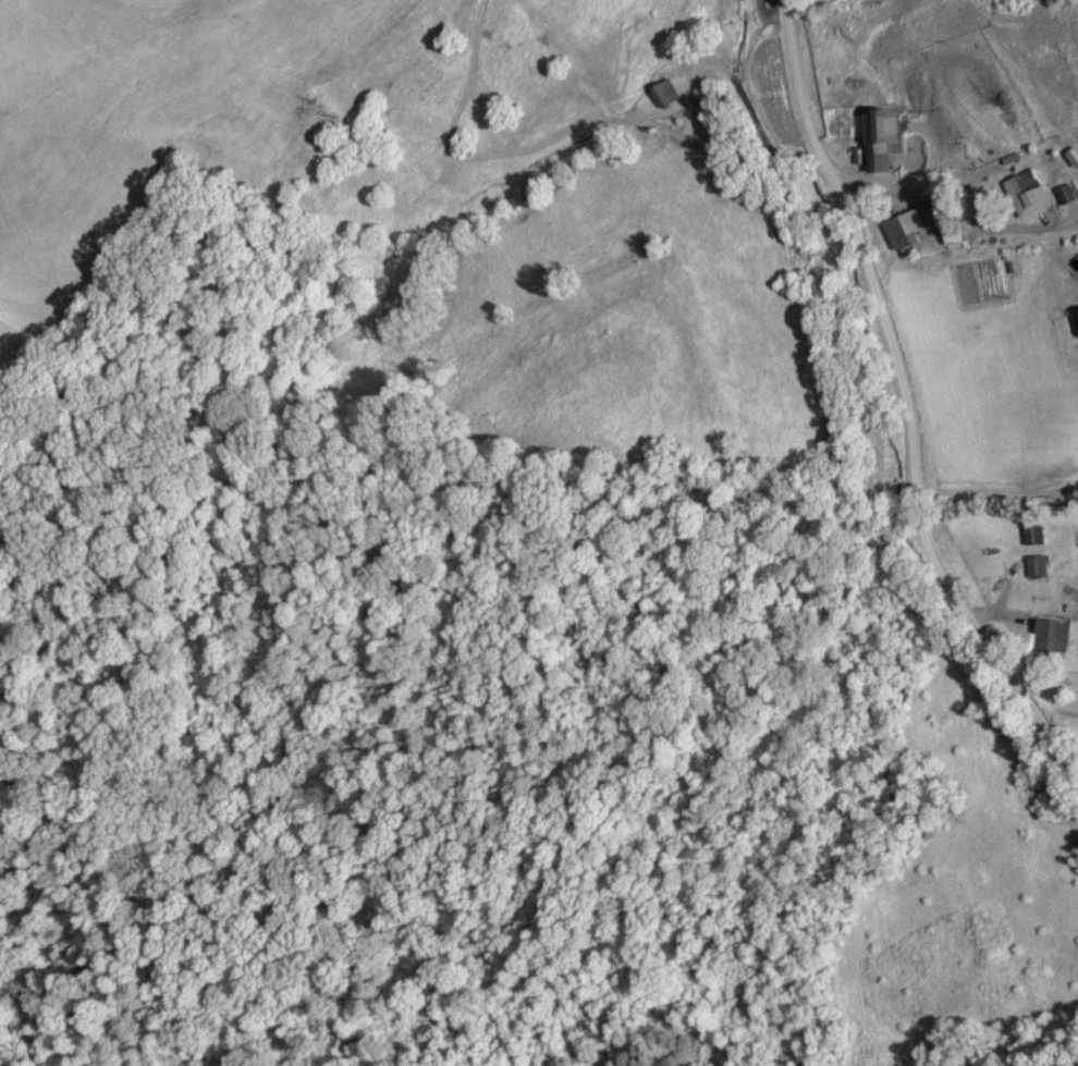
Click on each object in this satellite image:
road: (947, 229)
road: (905, 408)
road: (997, 498)

